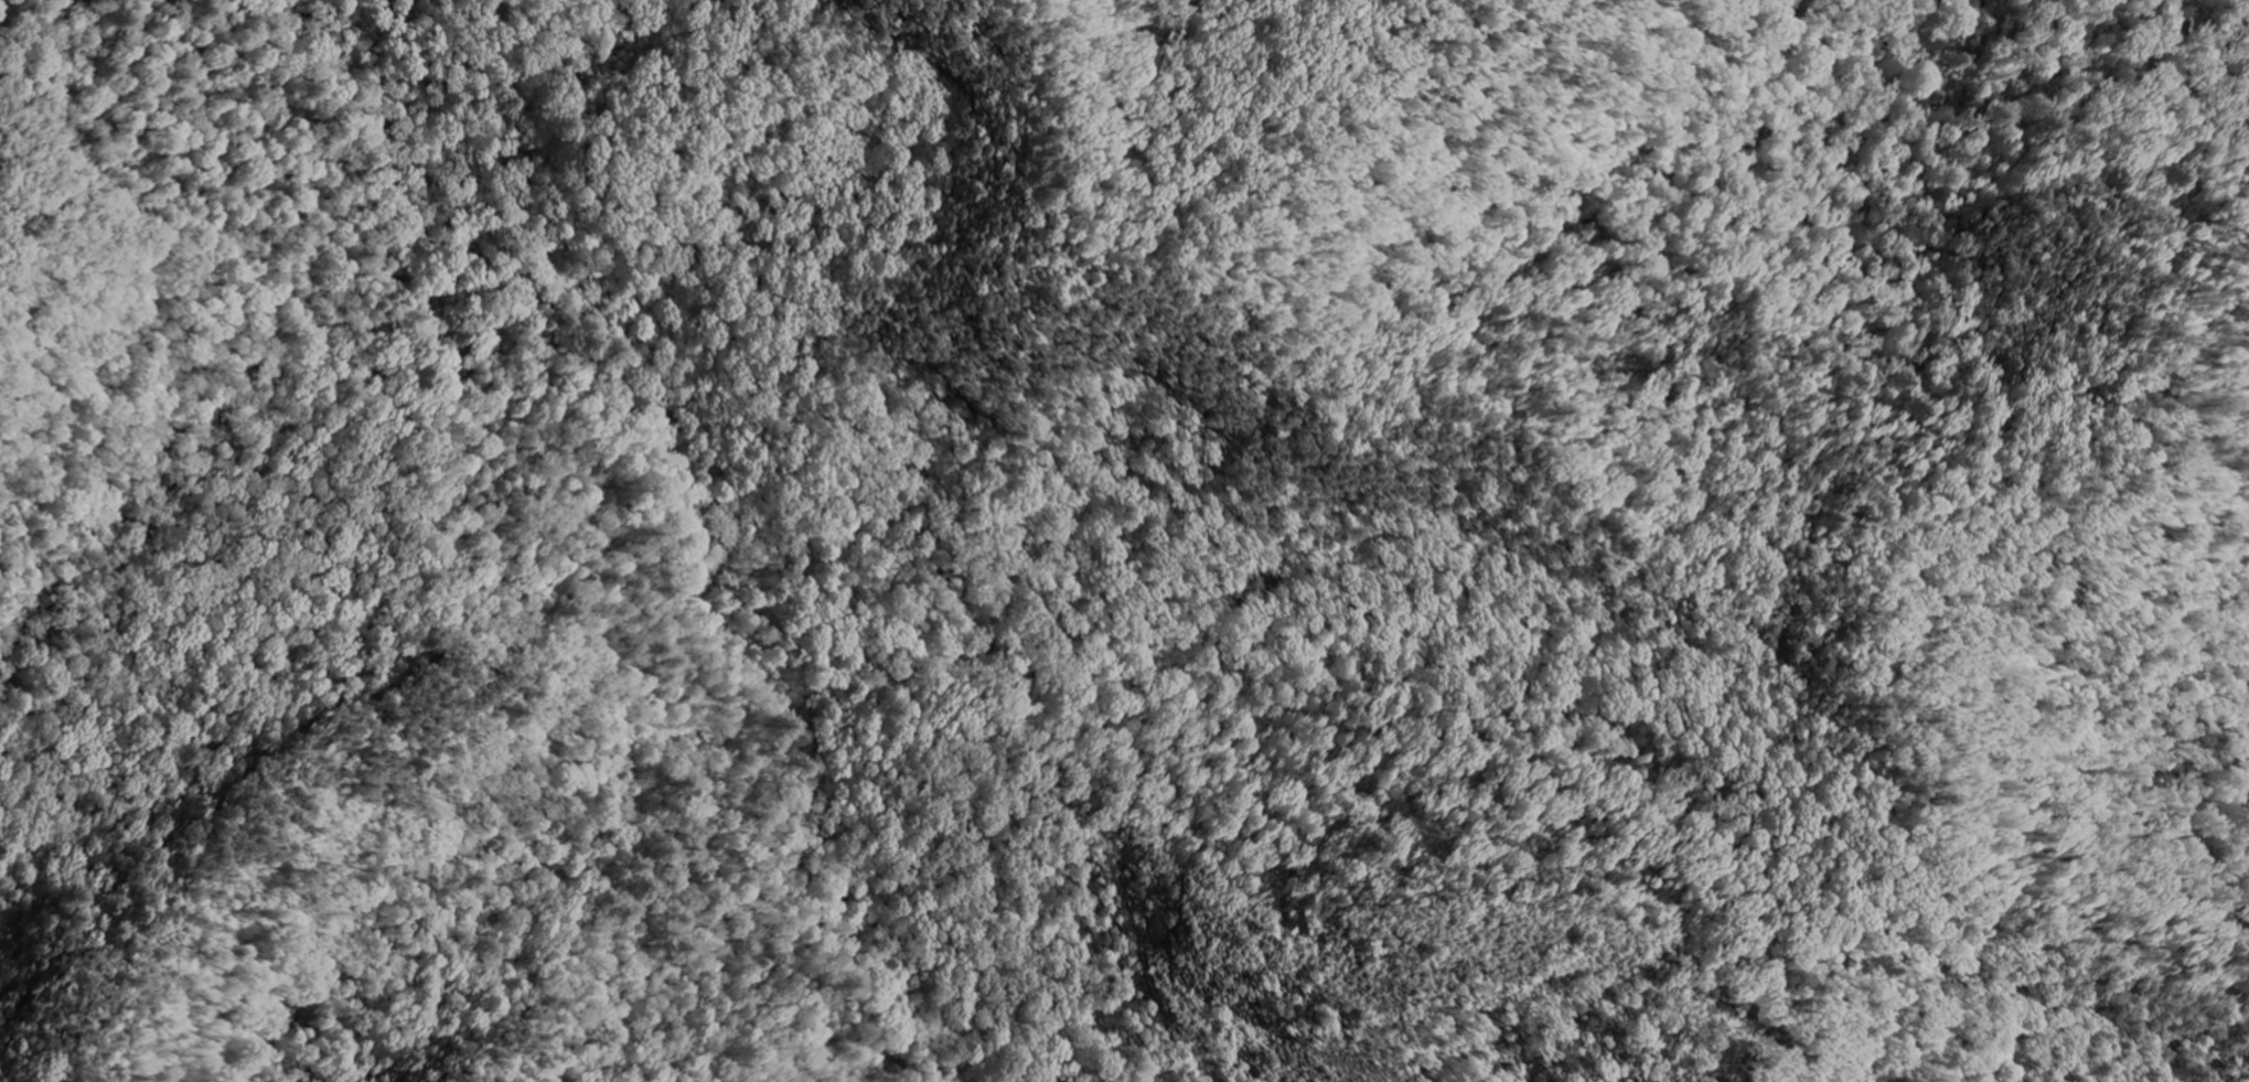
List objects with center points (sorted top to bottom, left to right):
road: (1911, 537)
road: (1109, 577)
road: (1593, 924)
road: (2124, 985)
road: (1799, 995)

